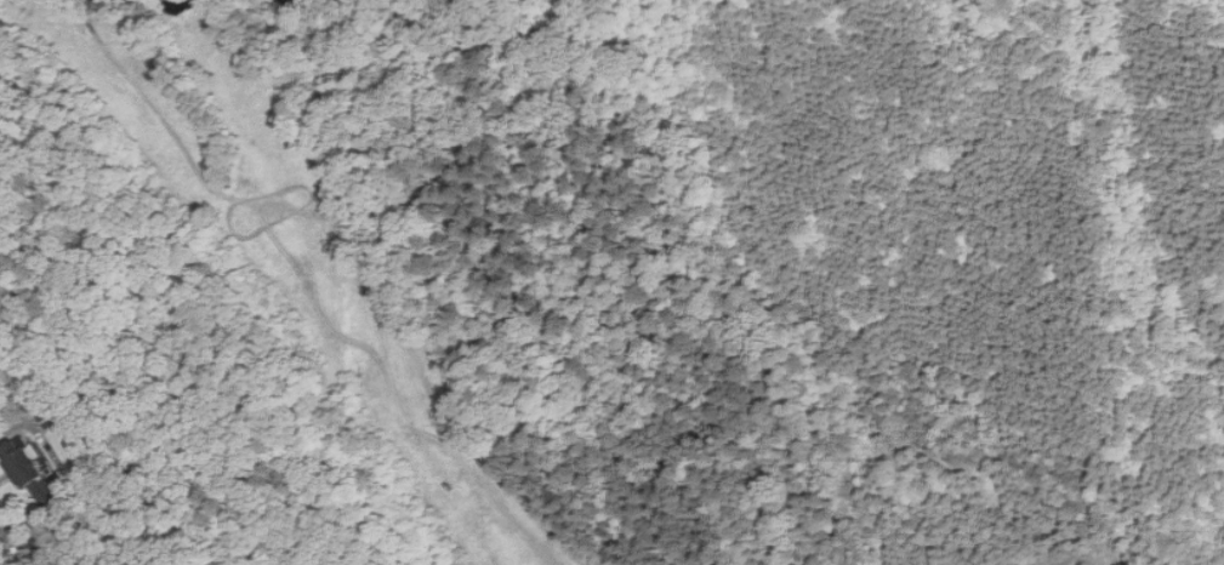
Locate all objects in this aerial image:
building: (36, 475)
building: (52, 548)

